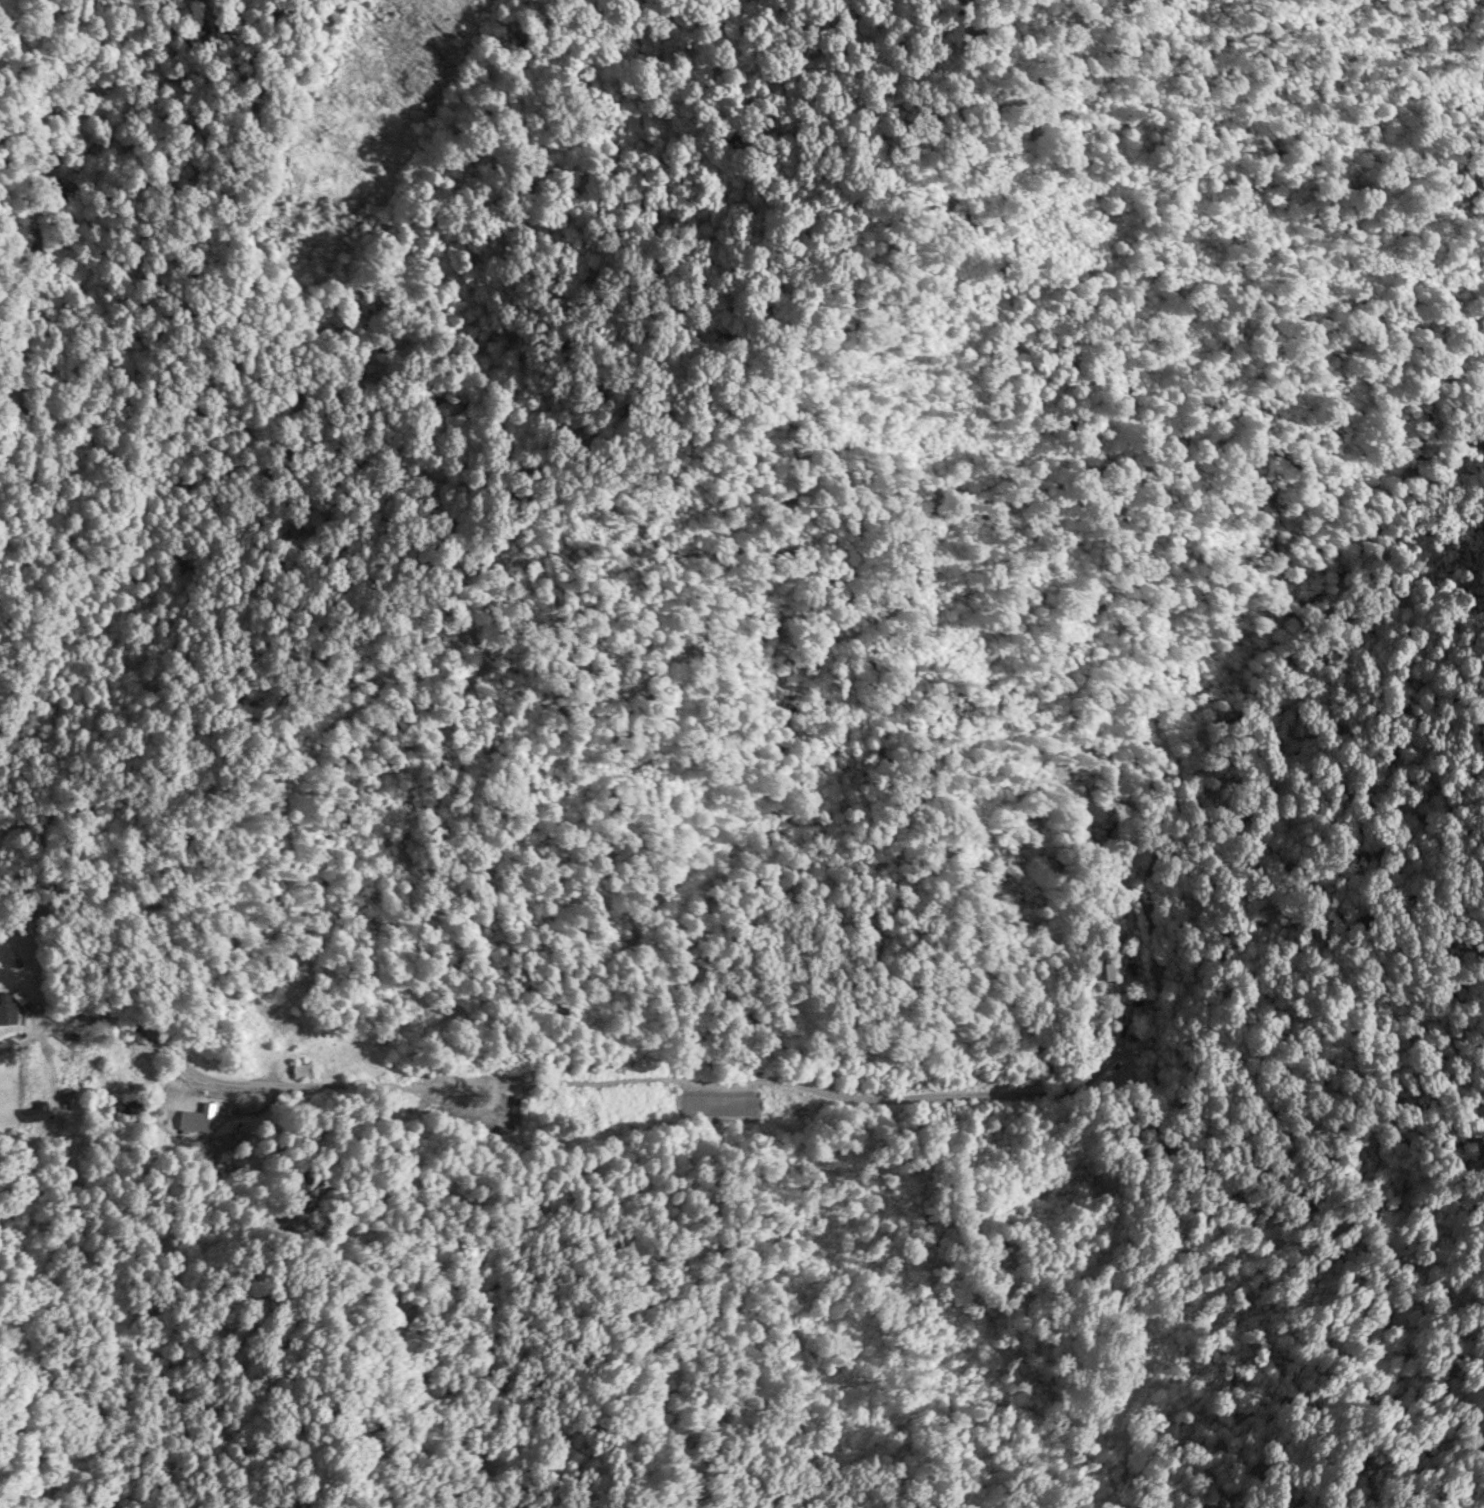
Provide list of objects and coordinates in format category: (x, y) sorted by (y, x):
building: (1113, 964)
building: (1134, 999)
building: (7, 1014)
building: (302, 1073)
road: (263, 1085)

